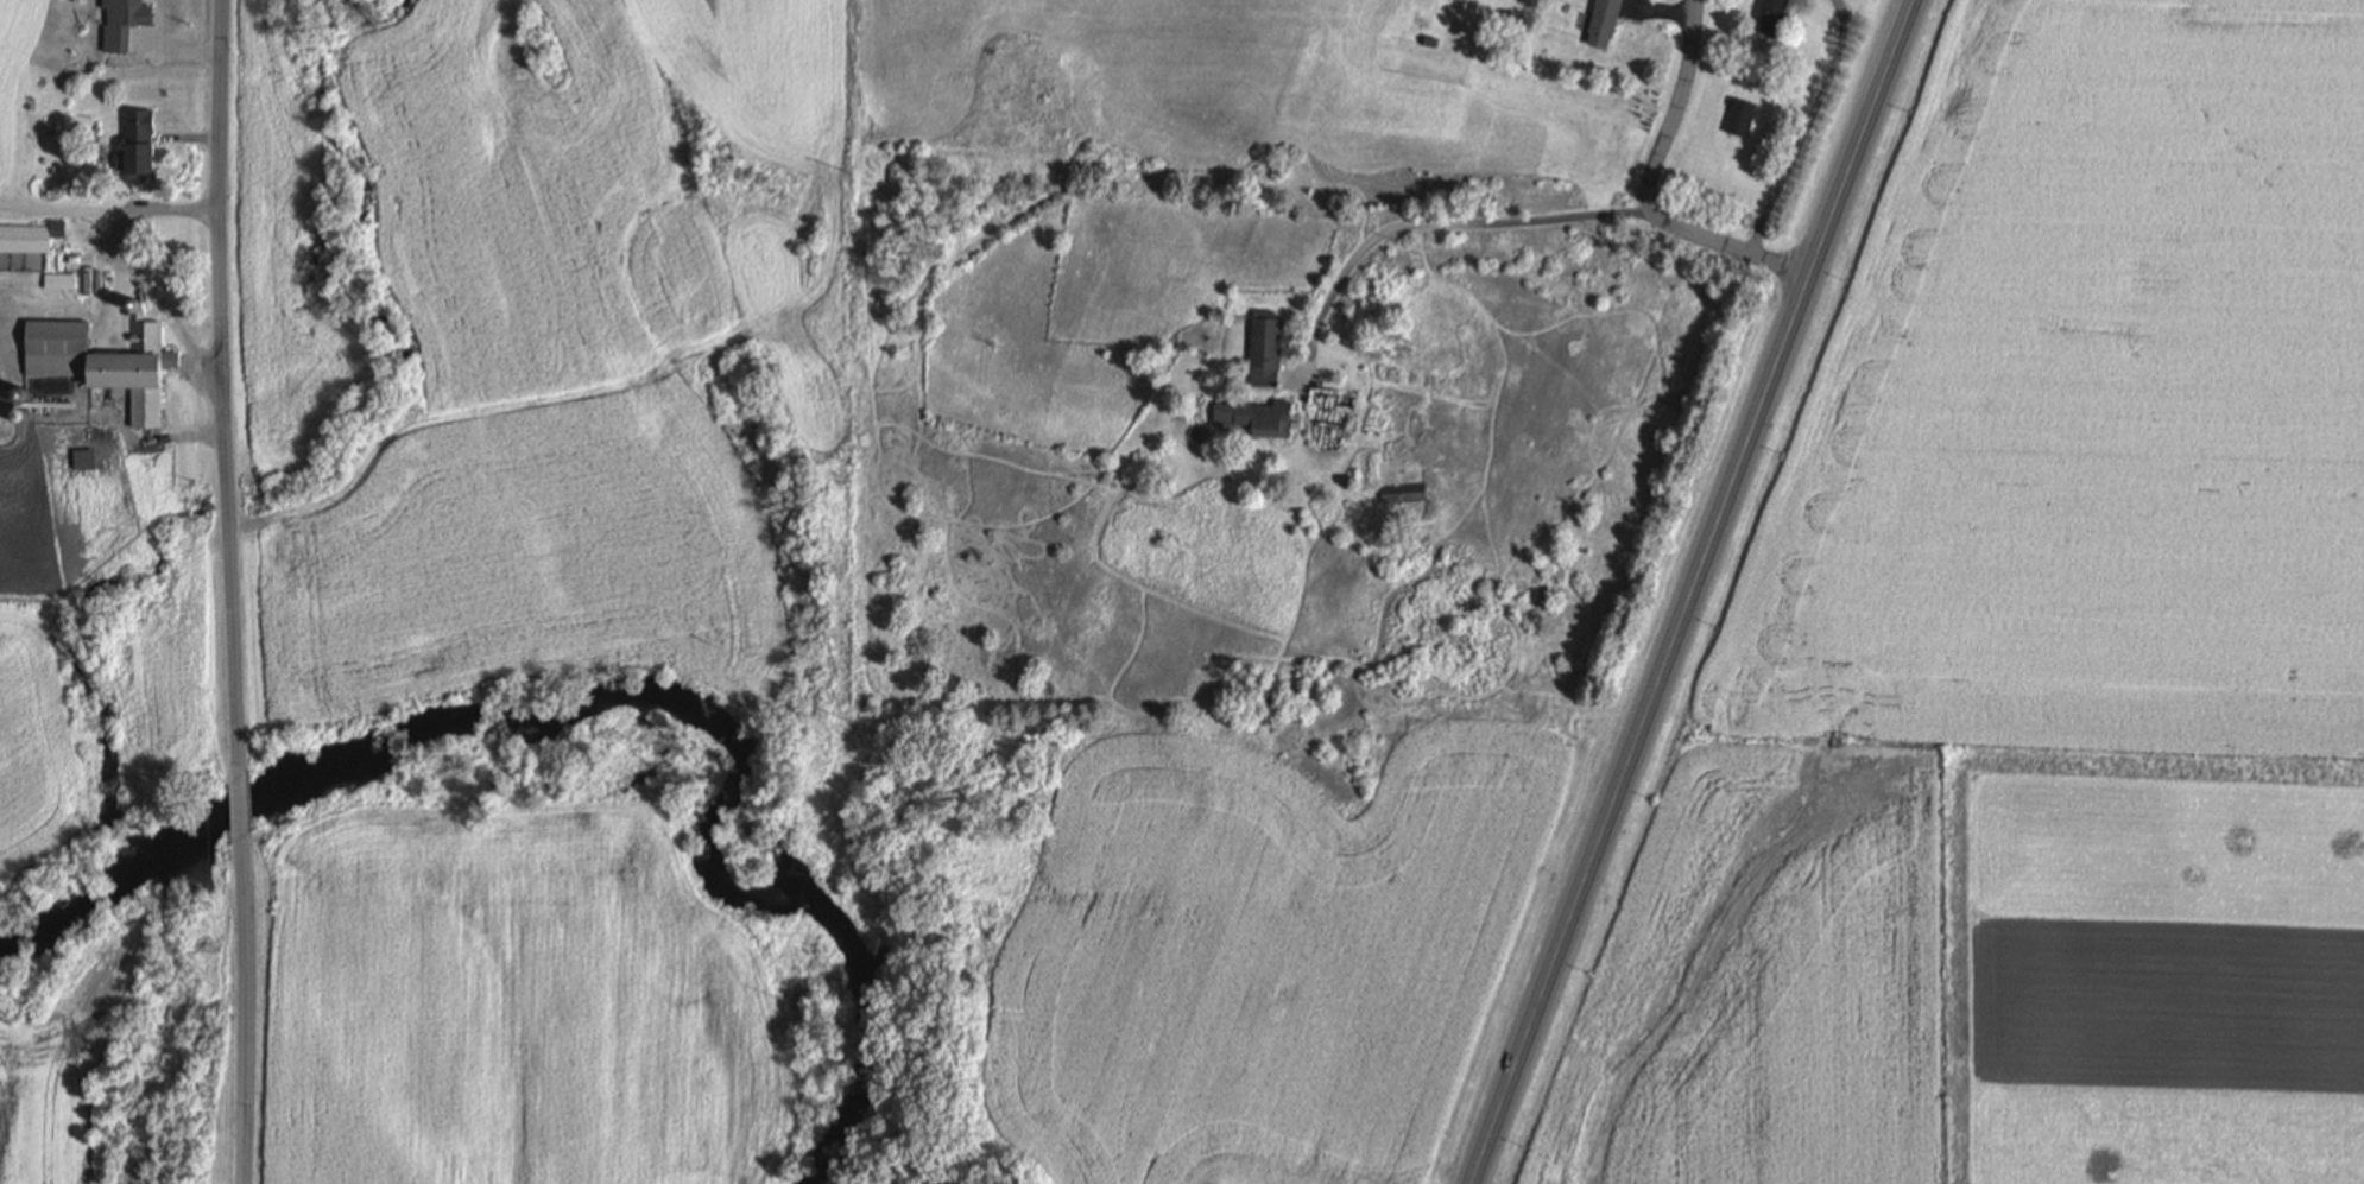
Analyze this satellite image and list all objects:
building: (1770, 14)
building: (1604, 21)
building: (122, 23)
building: (1430, 39)
road: (182, 50)
crop: (13, 59)
road: (1677, 114)
building: (1740, 115)
road: (1800, 128)
road: (192, 137)
building: (139, 146)
crop: (532, 197)
road: (59, 209)
road: (1521, 222)
building: (30, 235)
crop: (280, 258)
road: (122, 264)
building: (61, 279)
building: (95, 281)
road: (76, 310)
building: (1264, 347)
building: (107, 360)
crop: (2086, 399)
road: (223, 403)
building: (13, 404)
building: (1254, 414)
road: (157, 441)
building: (83, 457)
building: (1405, 489)
crop: (527, 563)
road: (1693, 591)
crop: (165, 670)
river: (621, 701)
crop: (34, 745)
road: (241, 817)
crop: (1258, 957)
crop: (2164, 969)
crop: (1774, 987)
road: (242, 1006)
crop: (513, 1006)
crop: (58, 1072)

